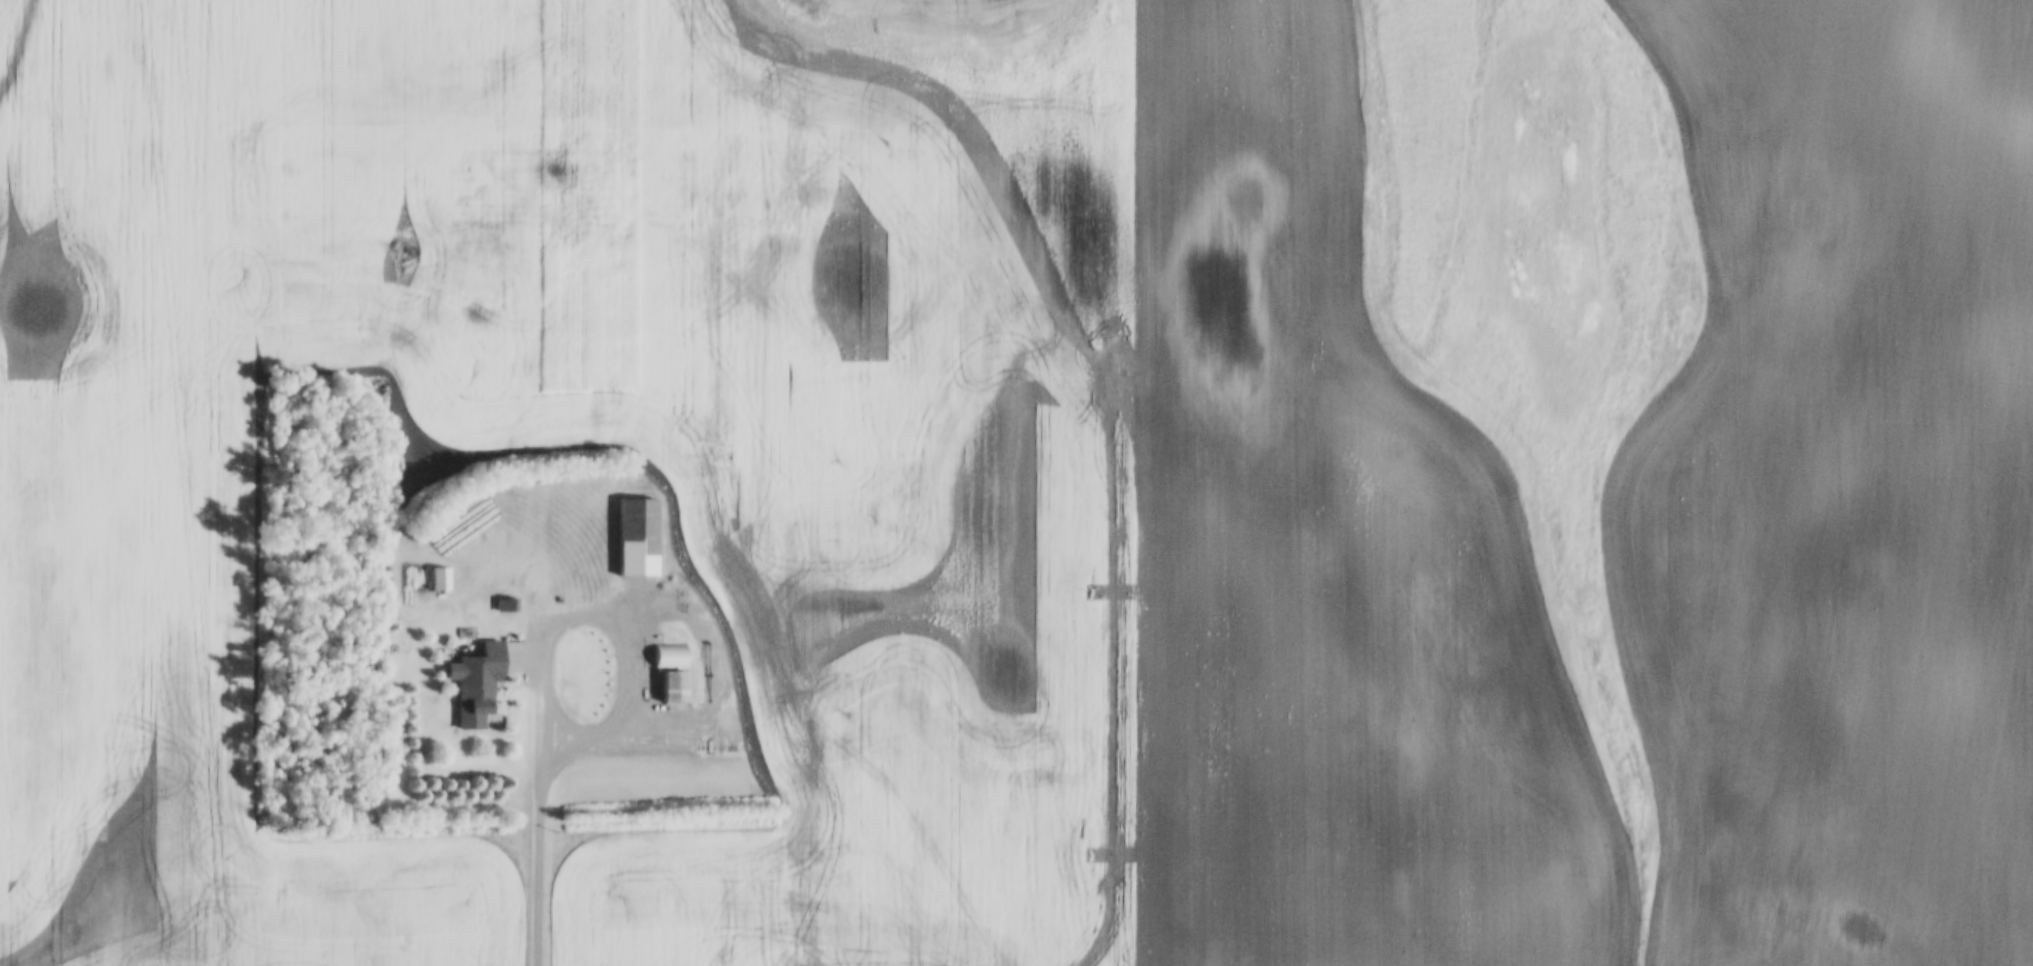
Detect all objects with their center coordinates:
road: (1138, 483)
building: (638, 539)
building: (441, 581)
building: (505, 608)
building: (443, 625)
building: (673, 673)
building: (477, 685)
road: (550, 769)

